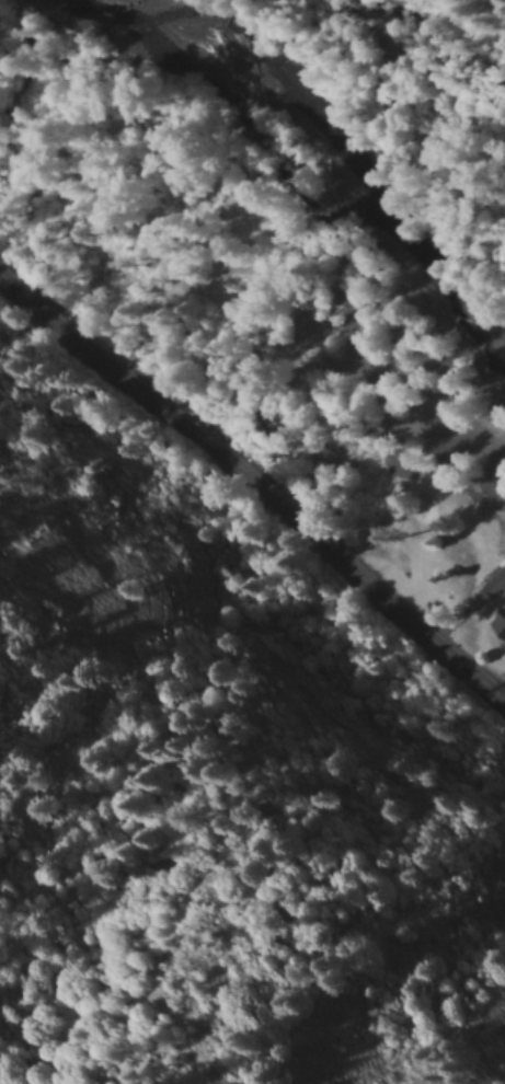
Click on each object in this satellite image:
river: (355, 166)
road: (256, 485)
building: (458, 578)

